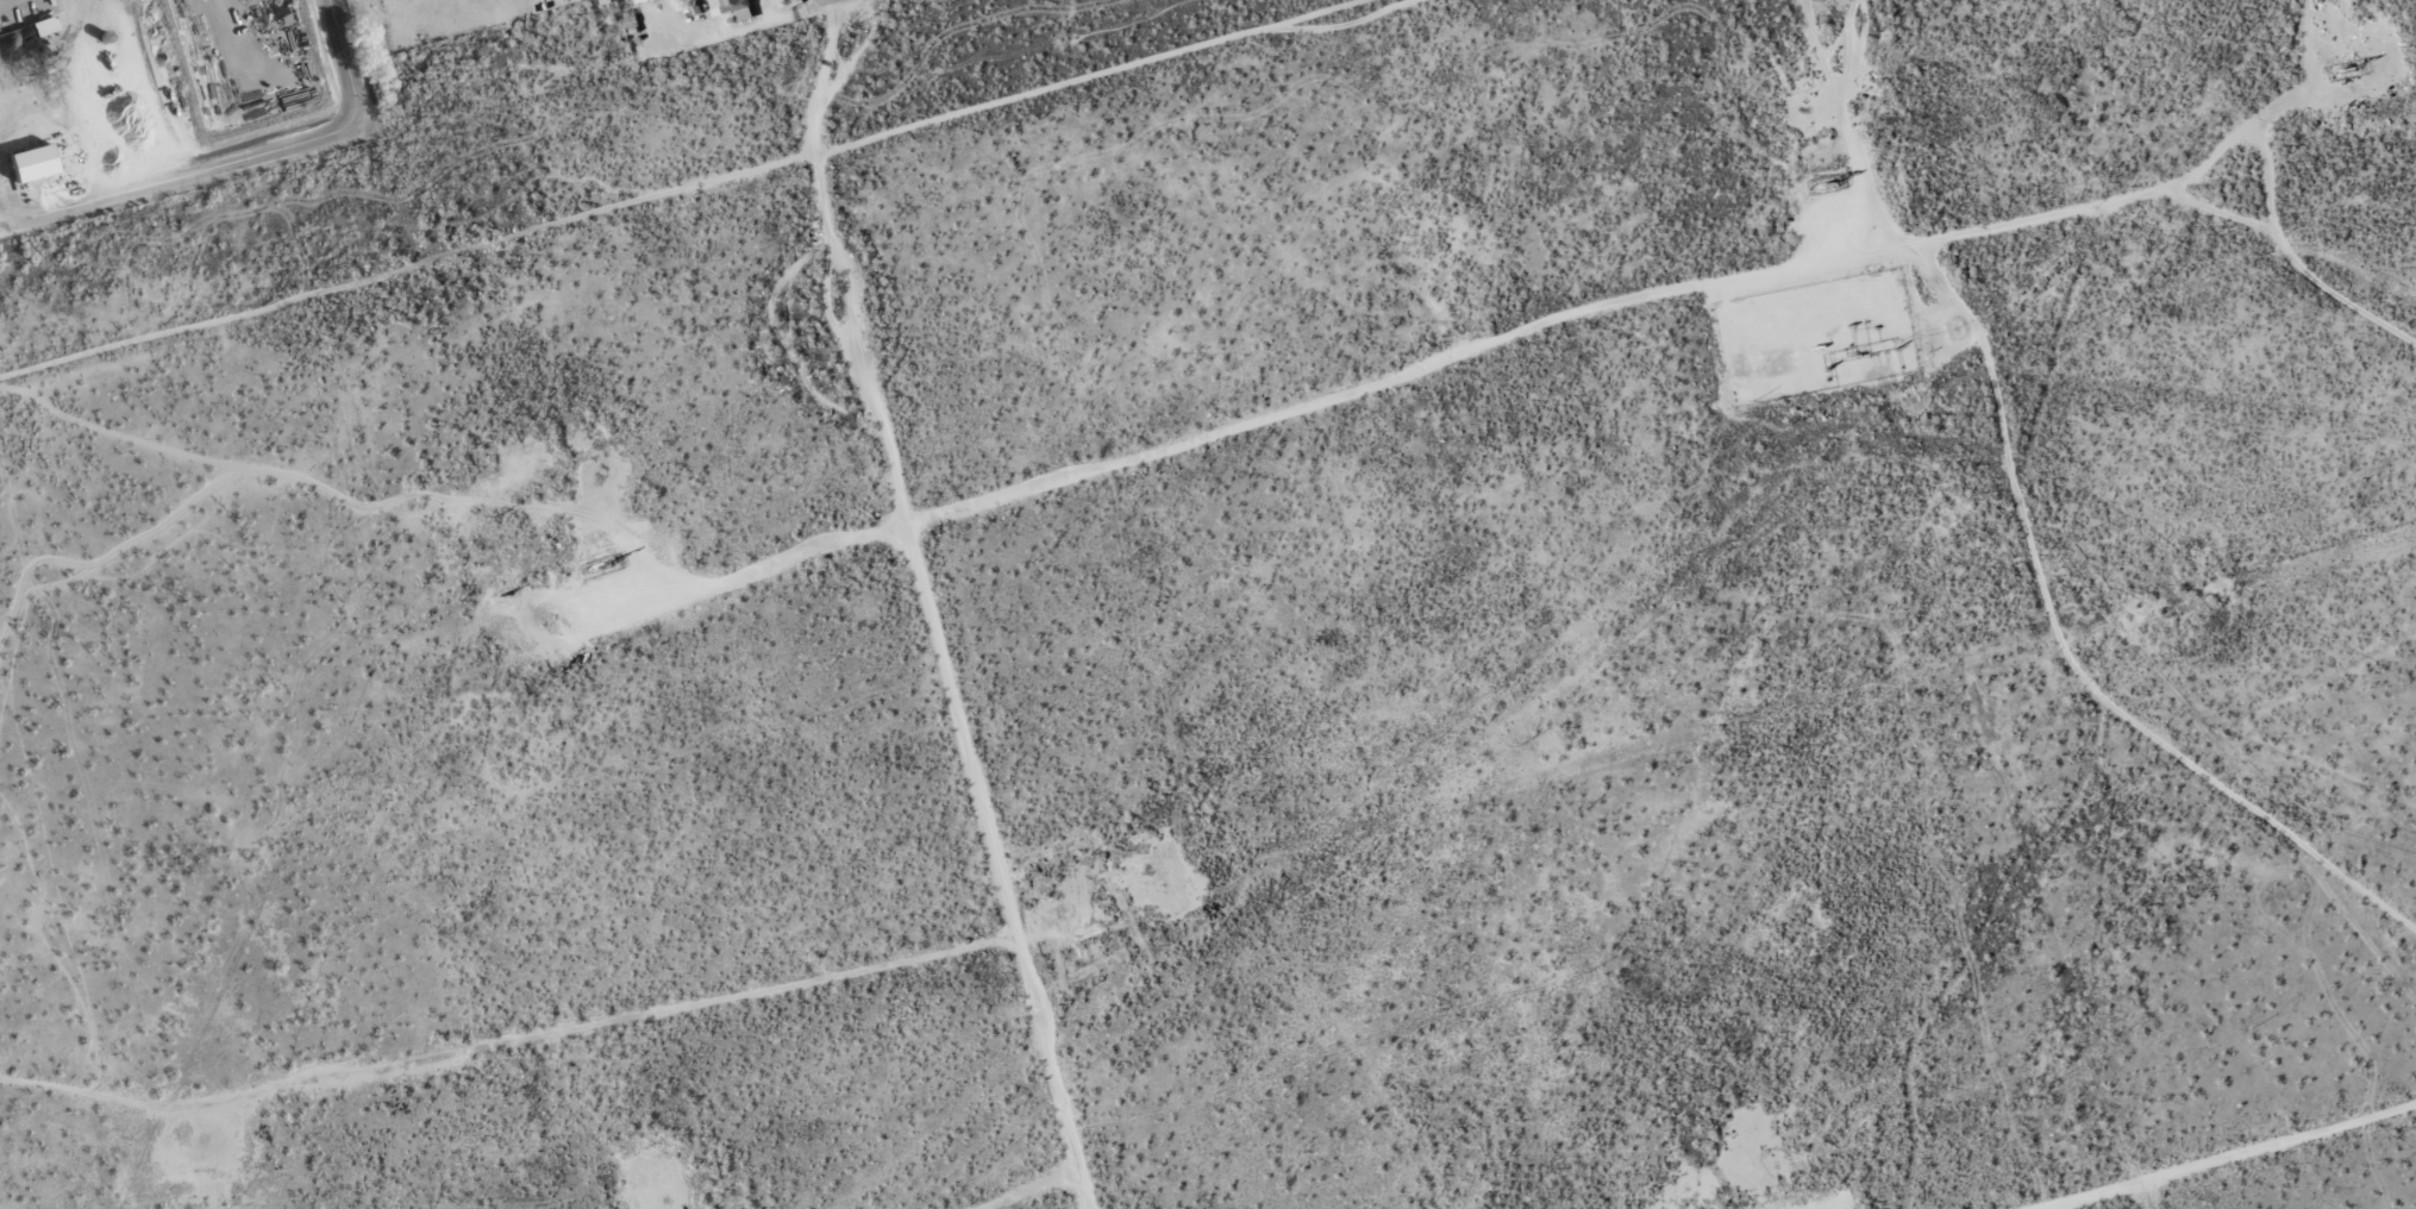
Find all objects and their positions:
building: (645, 1)
road: (237, 156)
building: (35, 164)
road: (934, 607)

